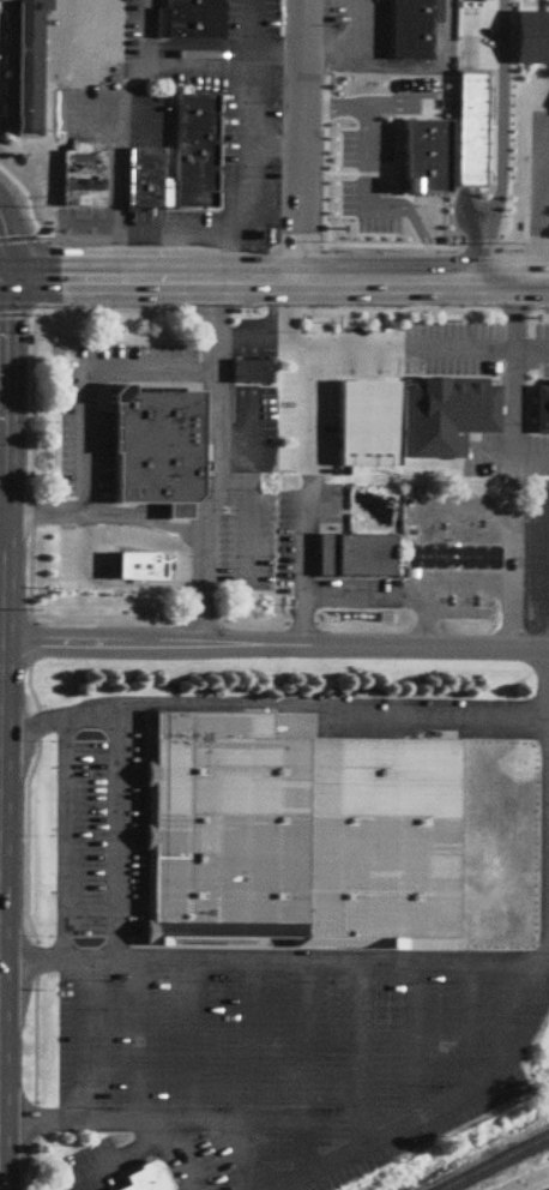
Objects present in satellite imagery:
building: (533, 4)
building: (191, 20)
road: (352, 25)
building: (414, 29)
parking lot: (352, 36)
road: (466, 37)
building: (532, 38)
road: (278, 52)
road: (326, 52)
road: (199, 55)
road: (352, 59)
road: (432, 66)
building: (26, 67)
road: (140, 70)
parking lot: (88, 113)
road: (90, 113)
road: (499, 113)
building: (472, 130)
road: (300, 139)
road: (277, 143)
road: (364, 143)
road: (547, 146)
building: (414, 148)
parking lot: (222, 149)
building: (182, 160)
road: (113, 169)
building: (84, 175)
building: (385, 176)
parking lot: (367, 180)
road: (22, 205)
road: (469, 206)
road: (255, 208)
road: (542, 208)
road: (40, 222)
road: (421, 240)
road: (424, 250)
road: (482, 251)
road: (113, 252)
road: (229, 252)
road: (31, 272)
traffic signals: (8, 277)
road: (274, 278)
road: (289, 306)
road: (367, 307)
road: (54, 332)
road: (254, 333)
road: (302, 338)
road: (362, 343)
parking lot: (453, 343)
road: (242, 345)
road: (258, 345)
road: (454, 345)
road: (66, 347)
road: (542, 347)
road: (515, 348)
parking lot: (542, 353)
building: (253, 369)
road: (242, 371)
road: (258, 371)
road: (209, 374)
parking lot: (326, 379)
road: (86, 380)
road: (242, 409)
parking lot: (270, 409)
road: (2, 410)
building: (543, 411)
building: (452, 413)
road: (1, 416)
road: (313, 421)
building: (369, 425)
parking lot: (83, 426)
road: (32, 427)
road: (258, 429)
building: (153, 449)
parking lot: (543, 457)
road: (526, 458)
road: (543, 458)
road: (515, 464)
road: (219, 465)
road: (224, 493)
road: (195, 513)
road: (83, 515)
road: (0, 516)
road: (103, 516)
road: (152, 516)
road: (470, 519)
road: (427, 529)
parking lot: (309, 530)
road: (453, 530)
road: (479, 530)
road: (246, 531)
parking lot: (249, 535)
road: (304, 543)
parking lot: (83, 555)
road: (83, 555)
building: (400, 555)
parking lot: (538, 557)
building: (143, 567)
building: (117, 569)
road: (427, 581)
road: (453, 582)
road: (481, 582)
road: (132, 583)
road: (192, 584)
road: (366, 591)
road: (471, 594)
road: (303, 619)
road: (426, 621)
road: (273, 648)
road: (307, 704)
road: (54, 721)
road: (20, 734)
building: (306, 834)
road: (35, 956)
road: (102, 961)
road: (64, 962)
road: (378, 963)
road: (29, 964)
road: (539, 964)
road: (88, 1015)
parking lot: (259, 1020)
road: (472, 1028)
road: (197, 1040)
road: (251, 1041)
road: (416, 1042)
road: (363, 1057)
road: (307, 1070)
road: (195, 1120)
road: (72, 1122)
road: (145, 1146)
road: (252, 1156)
railway: (491, 1160)
building: (145, 1177)
road: (541, 1188)

